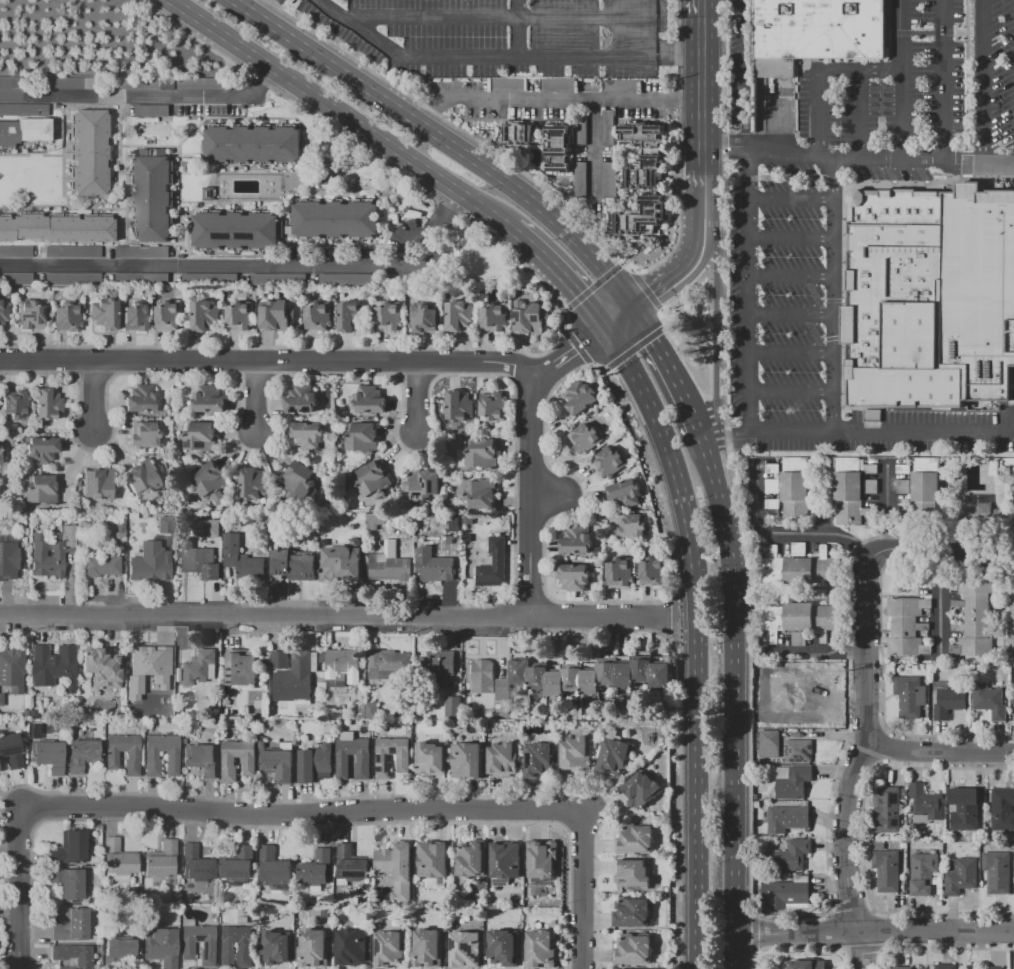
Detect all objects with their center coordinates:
road: (268, 7)
road: (701, 10)
road: (498, 22)
road: (519, 28)
road: (652, 29)
building: (816, 32)
road: (497, 58)
road: (815, 71)
building: (7, 82)
building: (67, 82)
building: (121, 82)
building: (193, 83)
road: (901, 83)
road: (944, 83)
building: (555, 84)
road: (967, 84)
road: (981, 84)
building: (618, 85)
road: (701, 92)
road: (558, 94)
road: (146, 95)
building: (23, 109)
building: (150, 110)
road: (342, 113)
road: (858, 117)
building: (24, 132)
building: (517, 132)
road: (448, 137)
building: (253, 144)
road: (591, 144)
building: (555, 147)
road: (722, 148)
road: (751, 148)
building: (89, 151)
building: (644, 155)
road: (958, 167)
building: (579, 178)
building: (607, 179)
road: (831, 182)
road: (701, 184)
building: (152, 199)
road: (750, 201)
road: (442, 211)
building: (638, 217)
parking lot: (773, 217)
building: (334, 219)
building: (58, 227)
building: (238, 230)
road: (790, 239)
road: (402, 242)
building: (14, 251)
building: (71, 251)
road: (426, 263)
road: (684, 266)
road: (200, 267)
road: (563, 269)
road: (790, 276)
building: (140, 277)
building: (14, 278)
building: (70, 278)
building: (276, 278)
building: (979, 292)
building: (898, 300)
traffic signals: (632, 305)
building: (103, 313)
road: (790, 313)
building: (28, 314)
road: (619, 314)
building: (3, 315)
building: (169, 315)
building: (275, 315)
building: (204, 316)
building: (239, 316)
building: (317, 316)
building: (350, 316)
building: (388, 316)
building: (458, 316)
road: (718, 316)
building: (67, 317)
building: (136, 317)
building: (493, 317)
building: (422, 318)
building: (529, 319)
traffic signals: (607, 324)
road: (580, 343)
traffic signals: (578, 345)
road: (790, 355)
road: (268, 362)
road: (543, 369)
road: (667, 370)
road: (790, 393)
road: (95, 396)
road: (413, 398)
building: (579, 398)
building: (140, 399)
building: (209, 399)
road: (254, 399)
building: (300, 400)
building: (369, 400)
building: (47, 404)
building: (15, 405)
building: (460, 406)
building: (495, 407)
building: (870, 415)
road: (735, 431)
road: (922, 431)
building: (308, 434)
building: (145, 435)
building: (202, 438)
building: (362, 438)
building: (584, 438)
building: (40, 450)
building: (482, 454)
road: (721, 459)
road: (712, 460)
building: (608, 462)
road: (671, 465)
building: (142, 477)
building: (298, 479)
building: (372, 480)
building: (210, 481)
building: (97, 484)
building: (251, 484)
building: (422, 485)
building: (794, 486)
building: (39, 490)
building: (847, 490)
building: (924, 490)
building: (624, 493)
building: (480, 494)
road: (549, 494)
road: (532, 496)
building: (983, 511)
building: (377, 521)
building: (161, 524)
building: (455, 524)
building: (118, 526)
building: (631, 526)
building: (207, 528)
road: (818, 534)
building: (575, 541)
building: (418, 544)
road: (942, 547)
building: (51, 551)
building: (241, 558)
building: (8, 561)
building: (200, 561)
building: (341, 563)
building: (293, 564)
building: (389, 564)
building: (101, 565)
building: (493, 565)
building: (150, 566)
building: (436, 568)
building: (800, 568)
building: (652, 571)
building: (618, 572)
building: (574, 577)
road: (266, 613)
road: (605, 616)
building: (974, 616)
building: (1010, 616)
road: (688, 618)
building: (797, 619)
building: (908, 626)
building: (279, 659)
building: (11, 662)
building: (146, 662)
building: (388, 663)
building: (50, 664)
building: (197, 667)
building: (101, 668)
building: (337, 668)
building: (438, 668)
building: (240, 670)
building: (591, 676)
building: (294, 678)
building: (487, 680)
building: (165, 692)
building: (909, 696)
building: (1, 700)
building: (949, 700)
building: (796, 701)
building: (989, 701)
building: (453, 707)
building: (373, 711)
road: (732, 727)
building: (769, 745)
building: (797, 751)
road: (942, 751)
building: (11, 753)
building: (575, 753)
building: (81, 755)
building: (111, 755)
building: (150, 755)
building: (47, 756)
building: (614, 757)
building: (201, 758)
building: (342, 758)
building: (382, 758)
building: (502, 759)
building: (429, 760)
building: (466, 760)
building: (537, 760)
building: (228, 761)
building: (279, 762)
building: (315, 762)
road: (860, 762)
building: (791, 780)
building: (640, 790)
road: (699, 793)
road: (305, 800)
building: (924, 801)
building: (886, 808)
building: (963, 809)
building: (1002, 809)
road: (302, 814)
building: (787, 819)
road: (301, 827)
building: (634, 838)
building: (68, 848)
building: (792, 855)
building: (432, 859)
building: (541, 859)
building: (161, 860)
building: (504, 860)
building: (117, 861)
building: (470, 862)
building: (196, 864)
building: (238, 865)
building: (350, 865)
building: (273, 866)
building: (316, 868)
building: (397, 868)
building: (885, 870)
building: (996, 872)
building: (923, 873)
building: (632, 875)
building: (960, 875)
road: (5, 876)
road: (594, 878)
building: (68, 883)
road: (19, 889)
road: (585, 889)
building: (786, 894)
road: (31, 895)
road: (570, 899)
building: (631, 911)
building: (71, 925)
road: (934, 932)
road: (793, 933)
building: (186, 945)
building: (224, 946)
building: (160, 947)
building: (274, 947)
building: (350, 947)
building: (502, 947)
building: (387, 948)
building: (426, 948)
building: (463, 948)
building: (313, 949)
building: (538, 949)
building: (633, 949)
building: (118, 951)
building: (72, 955)
building: (806, 964)
building: (944, 966)
building: (996, 967)
building: (901, 968)

